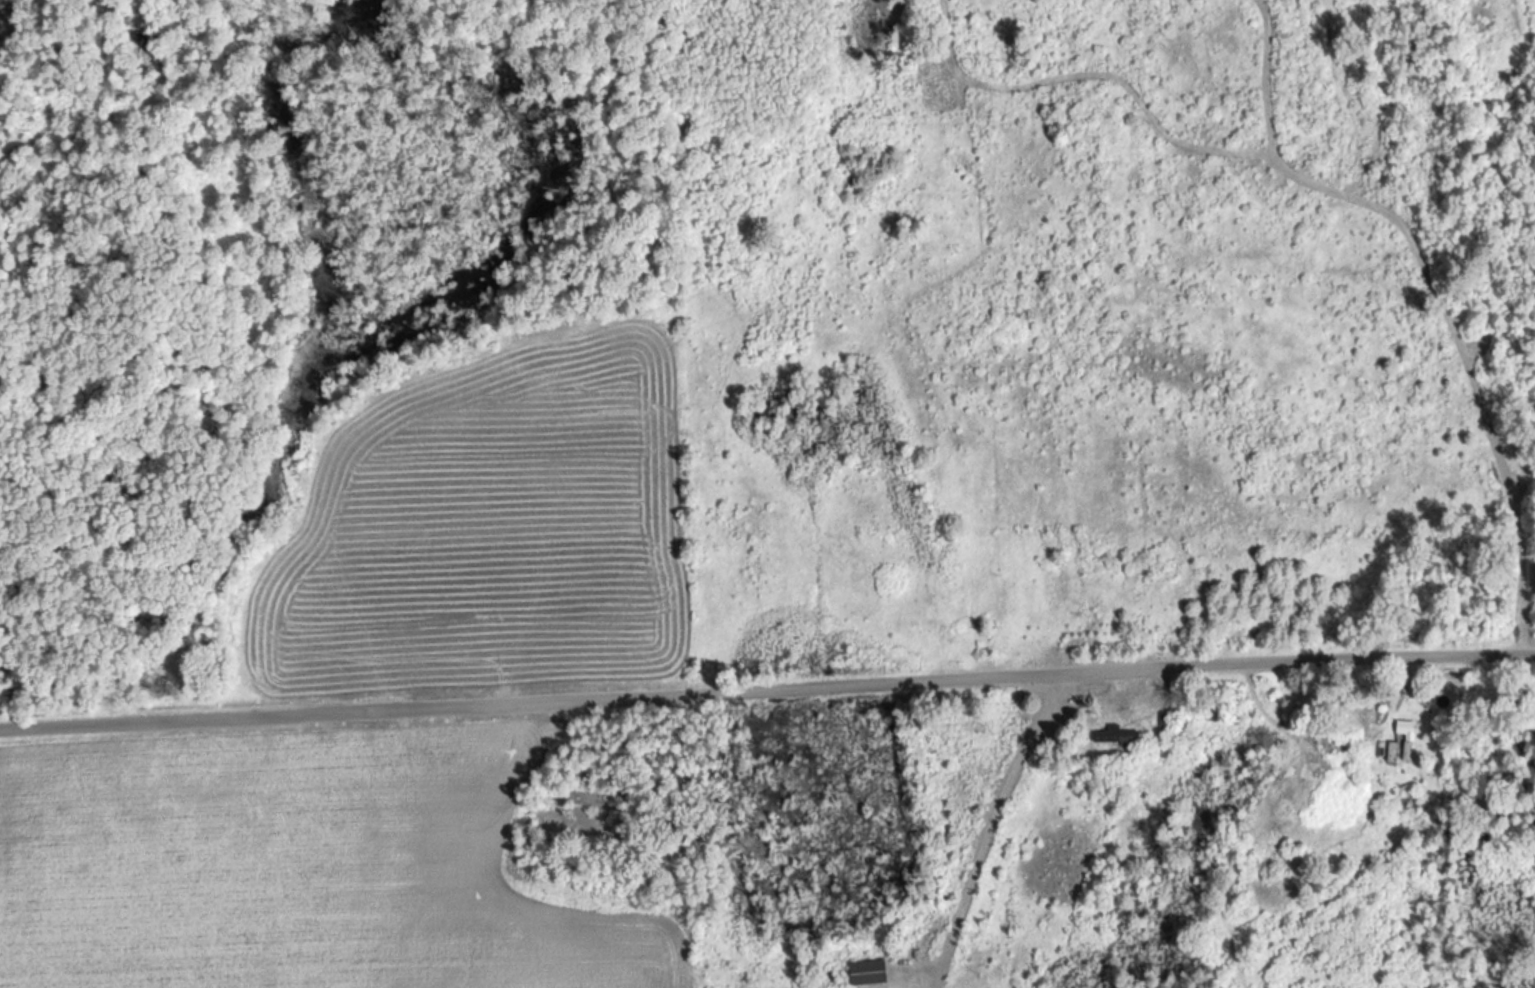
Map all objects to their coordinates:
road: (767, 682)
building: (1172, 723)
building: (1409, 726)
building: (1123, 735)
building: (1344, 746)
building: (1395, 760)
building: (875, 972)

